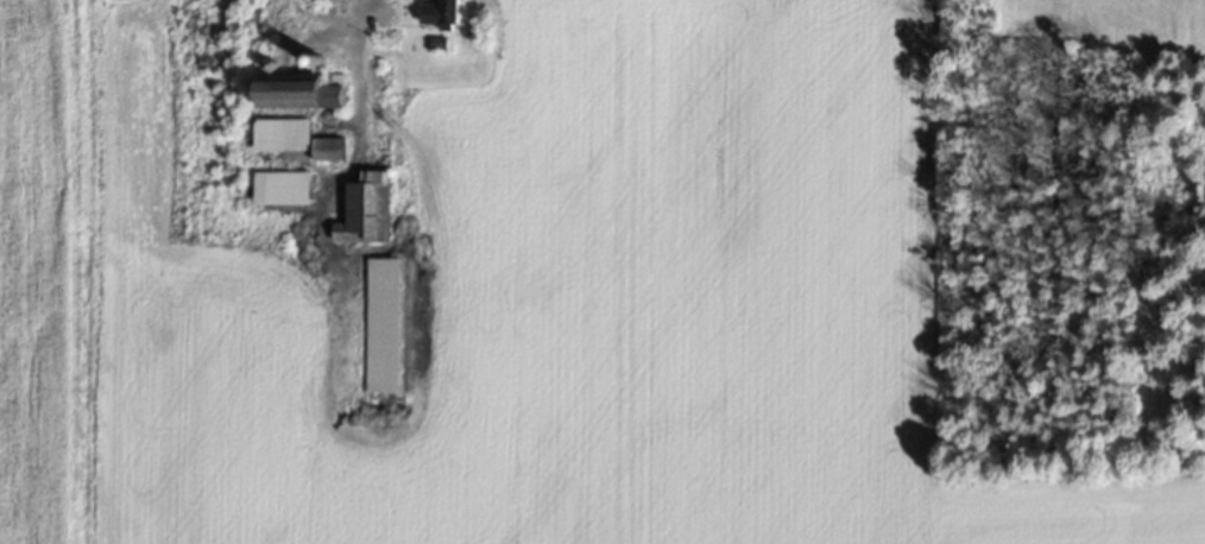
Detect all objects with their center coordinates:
building: (440, 12)
building: (304, 91)
road: (351, 110)
building: (279, 135)
building: (326, 150)
building: (279, 188)
building: (364, 210)
building: (381, 325)

